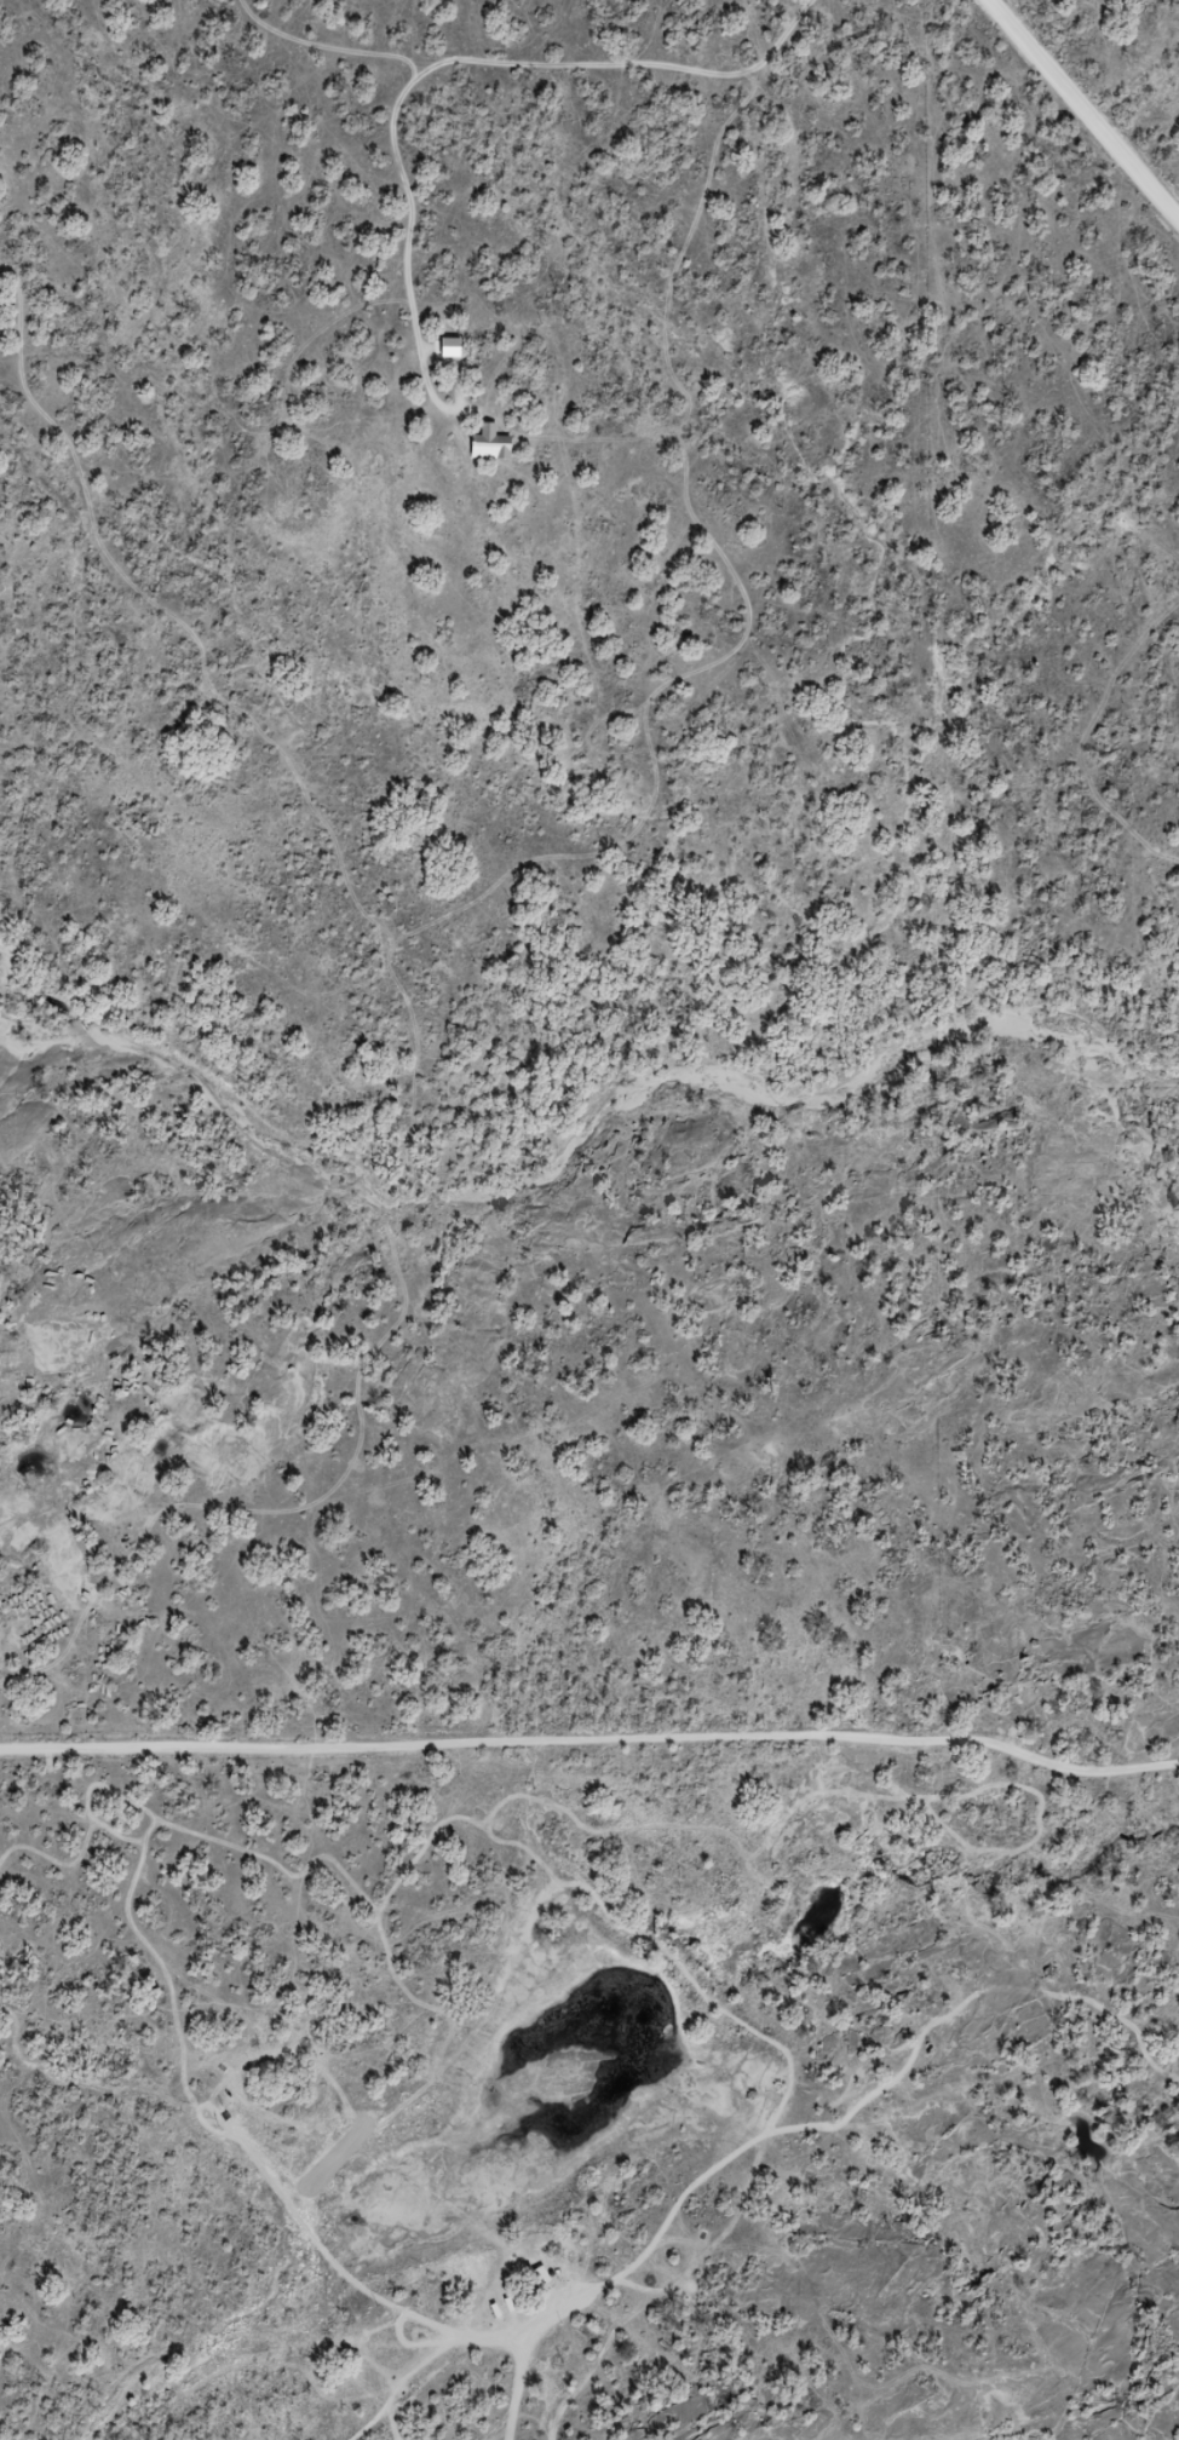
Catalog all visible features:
road: (1085, 109)
building: (490, 444)
quarry: (82, 1480)
road: (592, 1740)

